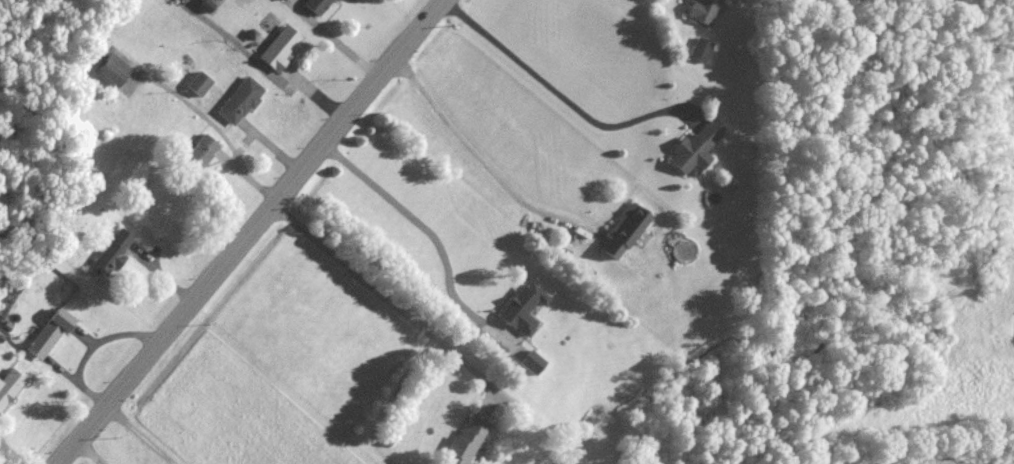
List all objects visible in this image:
building: (200, 0)
building: (279, 0)
building: (314, 6)
building: (702, 11)
road: (339, 41)
building: (277, 48)
building: (699, 50)
road: (263, 74)
building: (196, 84)
road: (566, 97)
building: (238, 101)
road: (213, 127)
building: (694, 148)
building: (196, 152)
road: (479, 154)
building: (623, 231)
road: (248, 232)
road: (435, 232)
building: (109, 256)
road: (397, 303)
building: (522, 309)
building: (47, 335)
road: (97, 351)
building: (531, 363)
building: (9, 385)
road: (141, 434)
building: (464, 443)
road: (13, 451)
road: (89, 453)

